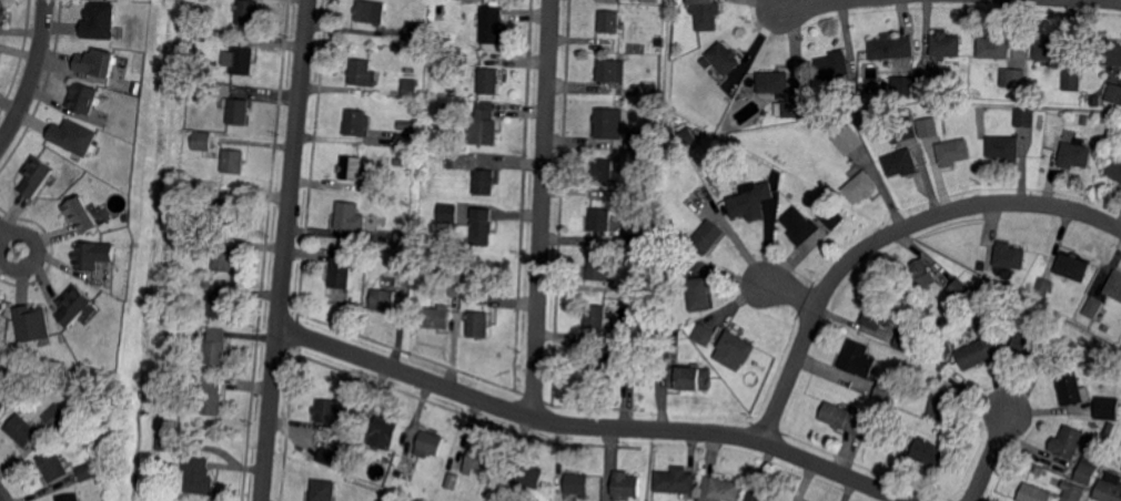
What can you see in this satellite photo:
building: (650, 1)
road: (816, 4)
building: (372, 11)
building: (1, 12)
building: (250, 12)
building: (707, 13)
building: (98, 21)
building: (610, 21)
building: (491, 25)
building: (416, 34)
building: (436, 40)
building: (659, 43)
building: (444, 44)
building: (683, 44)
building: (947, 44)
building: (994, 47)
building: (891, 48)
building: (1051, 50)
building: (1107, 52)
building: (725, 58)
building: (459, 60)
building: (242, 61)
building: (93, 62)
building: (707, 63)
building: (836, 67)
building: (608, 70)
building: (649, 70)
road: (29, 73)
building: (362, 73)
building: (1013, 76)
building: (928, 79)
building: (1072, 80)
building: (491, 81)
building: (775, 82)
building: (411, 86)
building: (902, 86)
building: (1117, 95)
building: (82, 98)
building: (1100, 102)
building: (443, 106)
building: (455, 106)
building: (794, 109)
building: (240, 111)
building: (834, 114)
building: (1026, 117)
building: (1083, 121)
building: (610, 123)
building: (357, 124)
building: (485, 125)
building: (1119, 125)
building: (211, 126)
building: (927, 127)
building: (901, 129)
building: (72, 136)
building: (637, 141)
building: (848, 141)
building: (202, 142)
building: (405, 142)
building: (721, 149)
building: (1003, 150)
building: (955, 152)
building: (398, 153)
building: (1075, 153)
building: (234, 161)
building: (398, 162)
building: (901, 162)
building: (352, 170)
building: (604, 171)
building: (1115, 172)
building: (34, 176)
building: (486, 182)
building: (859, 188)
building: (190, 192)
building: (645, 192)
building: (750, 203)
road: (544, 208)
building: (452, 209)
building: (230, 212)
building: (79, 215)
building: (350, 217)
building: (602, 218)
building: (832, 219)
building: (484, 225)
building: (800, 226)
road: (2, 232)
road: (886, 236)
building: (708, 237)
building: (404, 239)
building: (633, 239)
building: (210, 242)
building: (675, 243)
building: (444, 246)
road: (36, 249)
road: (286, 250)
building: (92, 255)
building: (1003, 257)
building: (224, 258)
building: (406, 260)
building: (673, 265)
building: (1073, 266)
building: (600, 267)
building: (432, 268)
building: (344, 269)
building: (919, 278)
building: (208, 285)
building: (1044, 286)
building: (1114, 286)
building: (453, 287)
building: (644, 290)
road: (794, 292)
building: (960, 292)
building: (699, 294)
building: (385, 299)
building: (477, 299)
building: (222, 301)
building: (73, 305)
building: (1093, 306)
building: (1, 308)
building: (597, 316)
building: (879, 316)
building: (437, 317)
building: (968, 317)
building: (31, 324)
building: (479, 324)
building: (933, 326)
building: (705, 335)
building: (634, 339)
building: (905, 339)
building: (932, 339)
building: (1030, 346)
building: (216, 347)
building: (735, 349)
building: (981, 349)
building: (667, 350)
building: (626, 357)
building: (858, 358)
building: (607, 364)
building: (690, 378)
building: (1071, 389)
building: (886, 392)
building: (209, 396)
building: (942, 403)
building: (1, 405)
building: (1107, 407)
building: (1, 408)
road: (514, 411)
building: (331, 412)
building: (57, 417)
building: (848, 419)
building: (23, 430)
building: (1110, 430)
building: (385, 432)
building: (344, 433)
building: (166, 441)
building: (939, 441)
building: (1068, 442)
building: (428, 444)
building: (928, 452)
building: (330, 456)
road: (990, 457)
building: (477, 461)
building: (53, 467)
road: (836, 470)
building: (1037, 471)
building: (1087, 471)
building: (88, 472)
building: (199, 474)
building: (531, 477)
building: (674, 481)
building: (380, 482)
building: (578, 483)
building: (624, 485)
building: (1109, 489)
building: (324, 490)
building: (721, 490)
building: (1073, 490)
building: (498, 493)
building: (1034, 493)
building: (766, 494)
building: (70, 498)
road: (1, 499)

